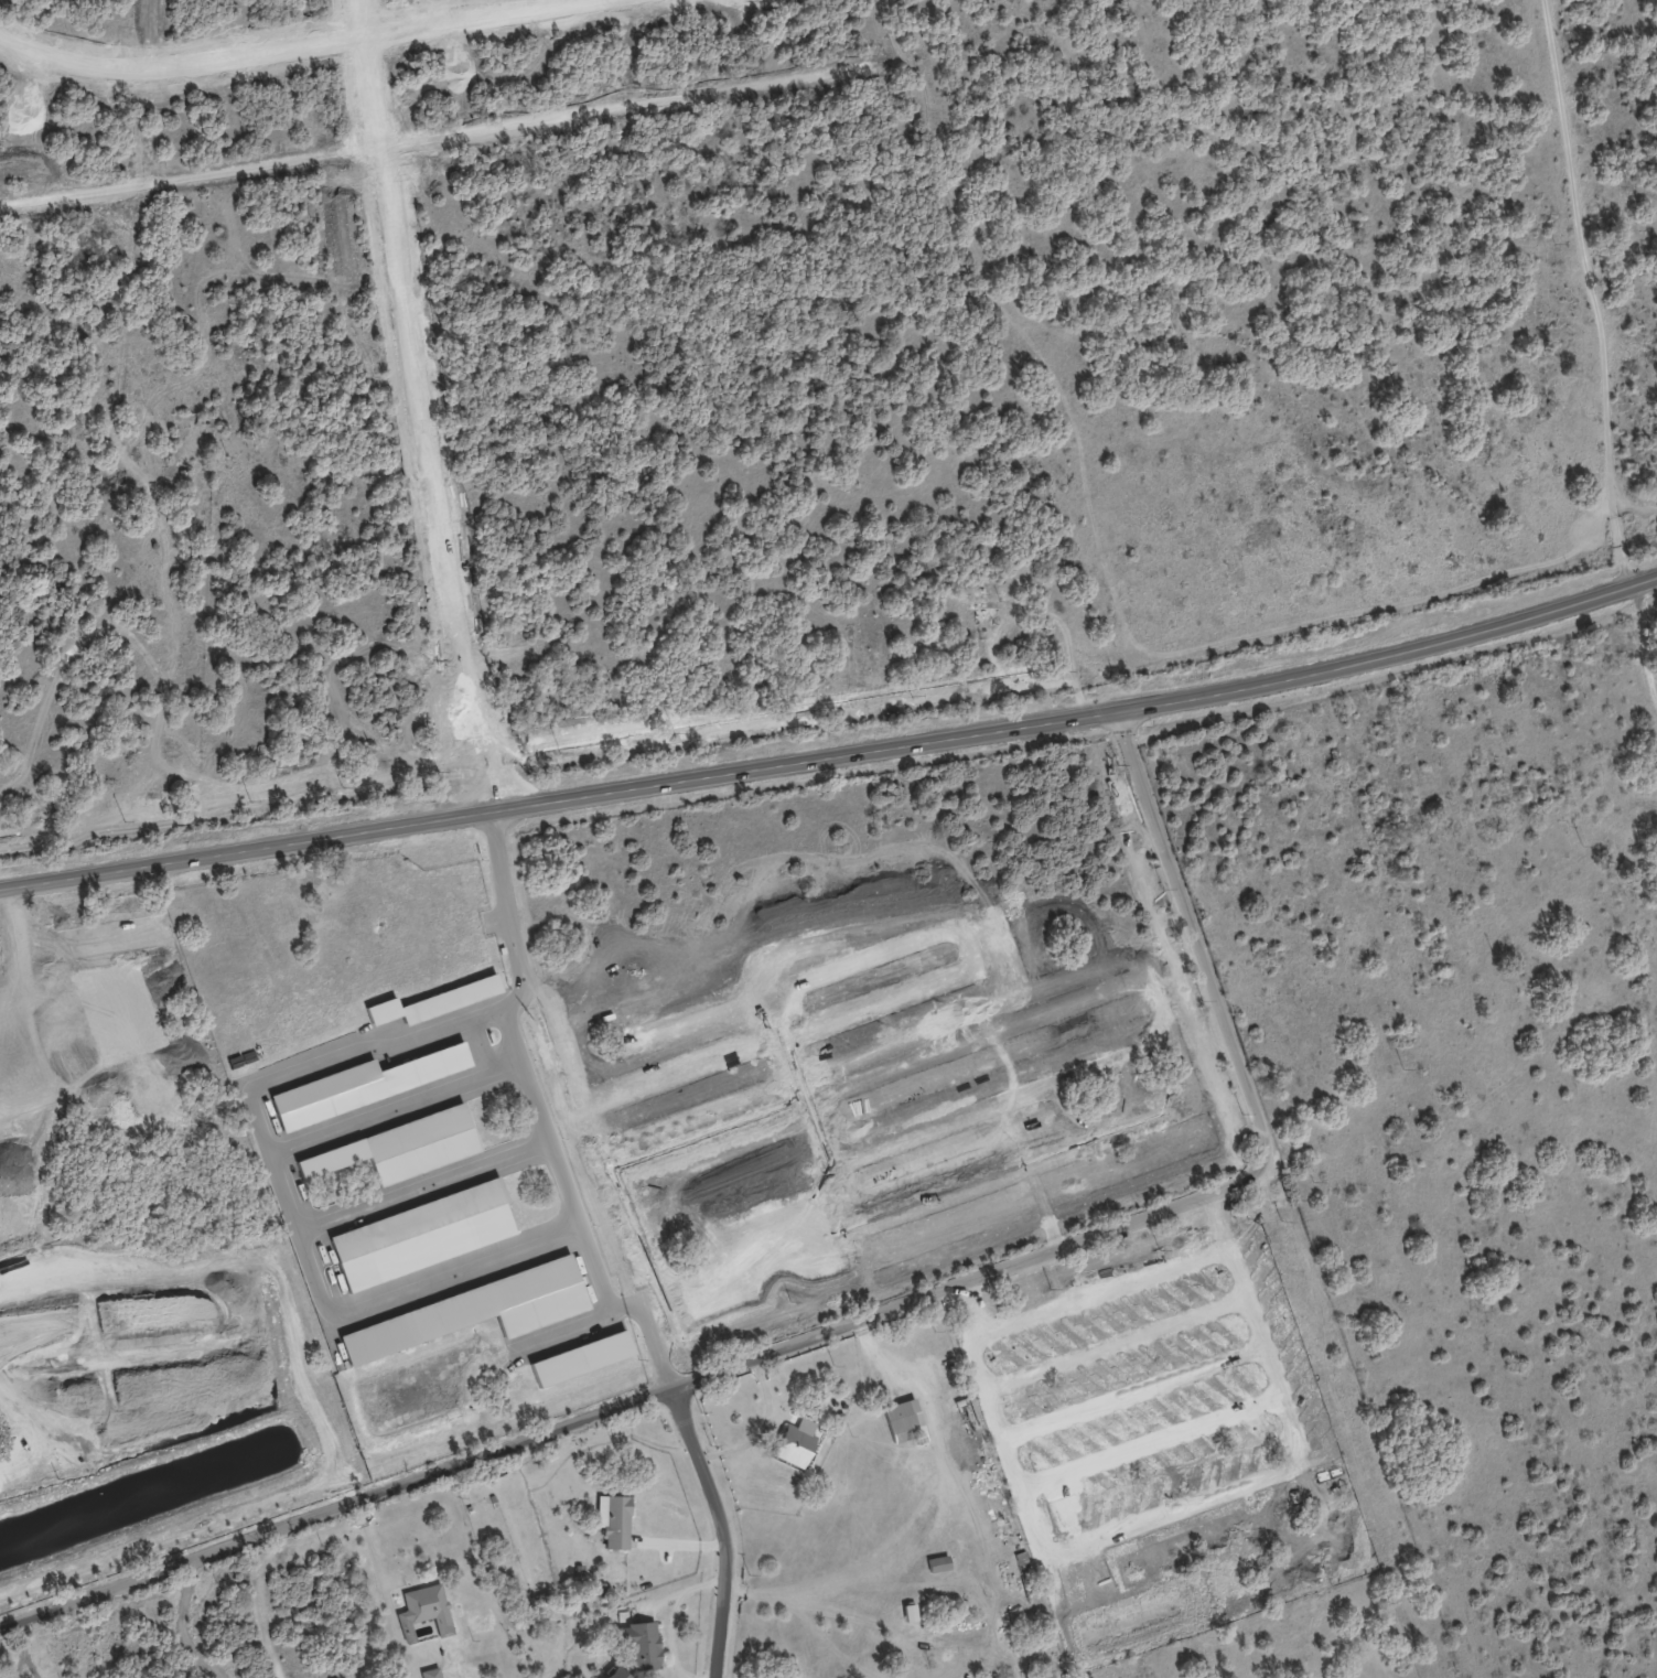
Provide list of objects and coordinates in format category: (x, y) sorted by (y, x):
road: (254, 40)
road: (1599, 291)
road: (413, 359)
building: (972, 609)
road: (1407, 650)
road: (494, 762)
road: (469, 766)
road: (575, 798)
building: (434, 1002)
building: (365, 1085)
road: (540, 1112)
building: (400, 1148)
road: (287, 1202)
building: (422, 1235)
building: (474, 1311)
road: (860, 1321)
building: (581, 1358)
building: (903, 1421)
road: (756, 1423)
building: (796, 1442)
building: (614, 1520)
road: (723, 1528)
building: (938, 1563)
road: (381, 1579)
building: (426, 1607)
building: (910, 1613)
building: (642, 1646)
road: (23, 1649)
road: (32, 1666)
building: (431, 1672)
building: (616, 1674)

